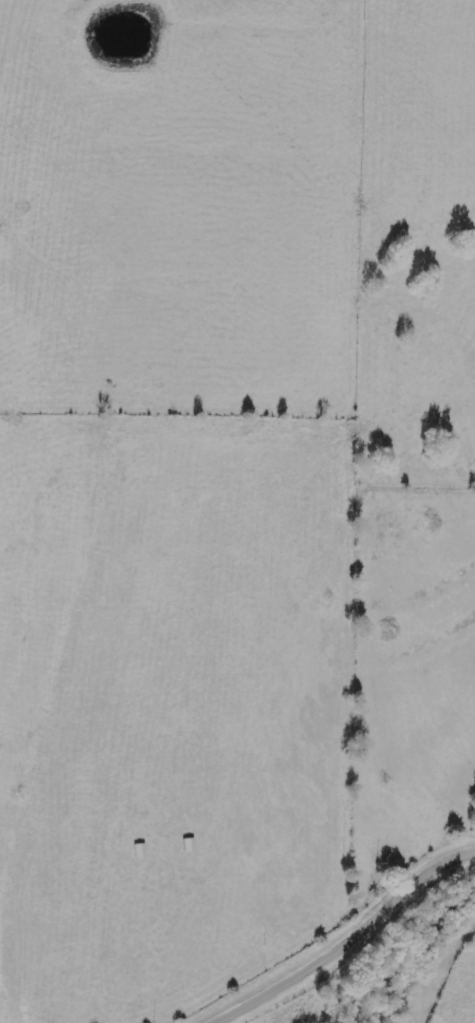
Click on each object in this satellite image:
road: (342, 939)

